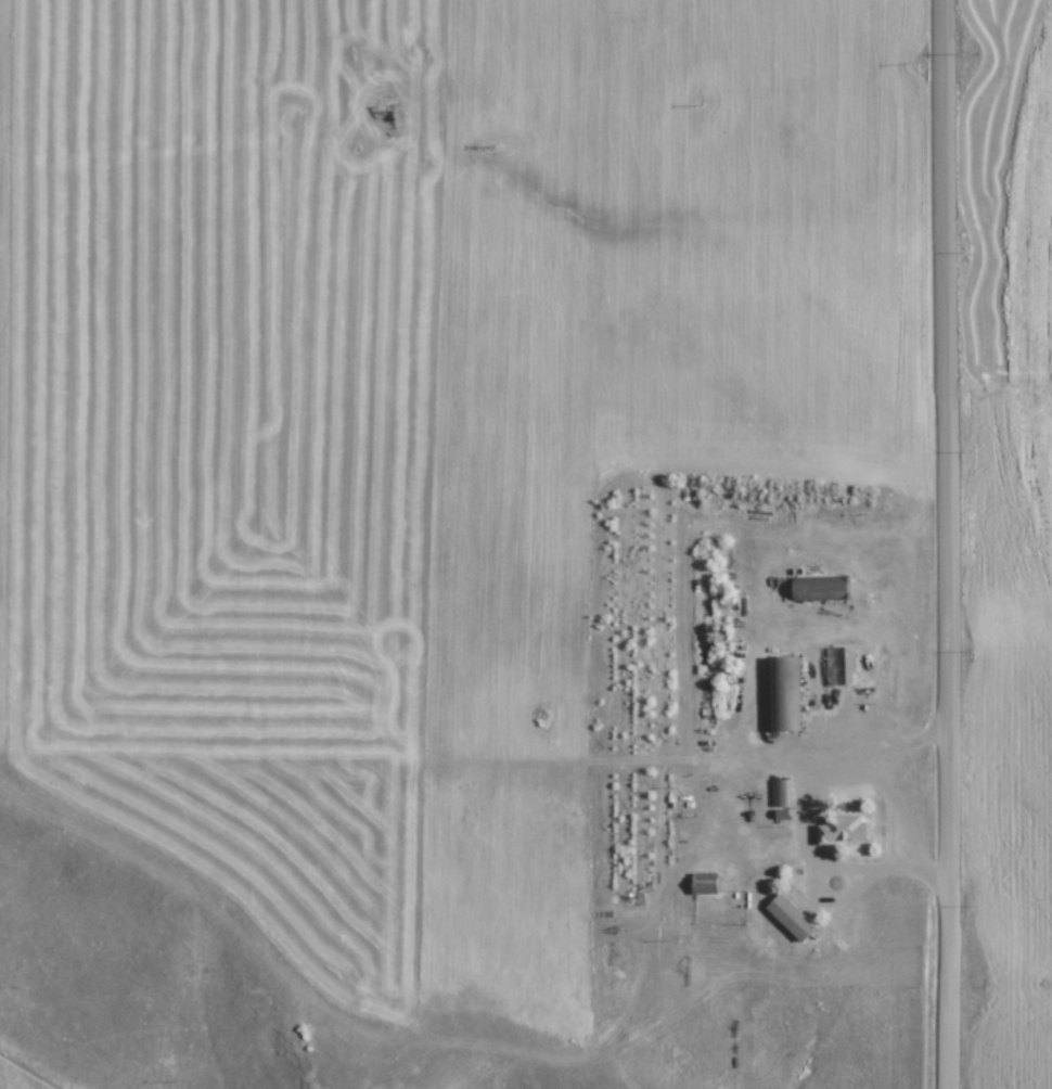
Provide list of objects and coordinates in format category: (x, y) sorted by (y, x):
petroleum well: (398, 121)
road: (172, 146)
road: (952, 543)
building: (822, 586)
building: (842, 663)
building: (784, 692)
petroleum well: (546, 716)
road: (402, 766)
building: (781, 792)
road: (808, 817)
building: (844, 828)
building: (706, 881)
building: (793, 915)

